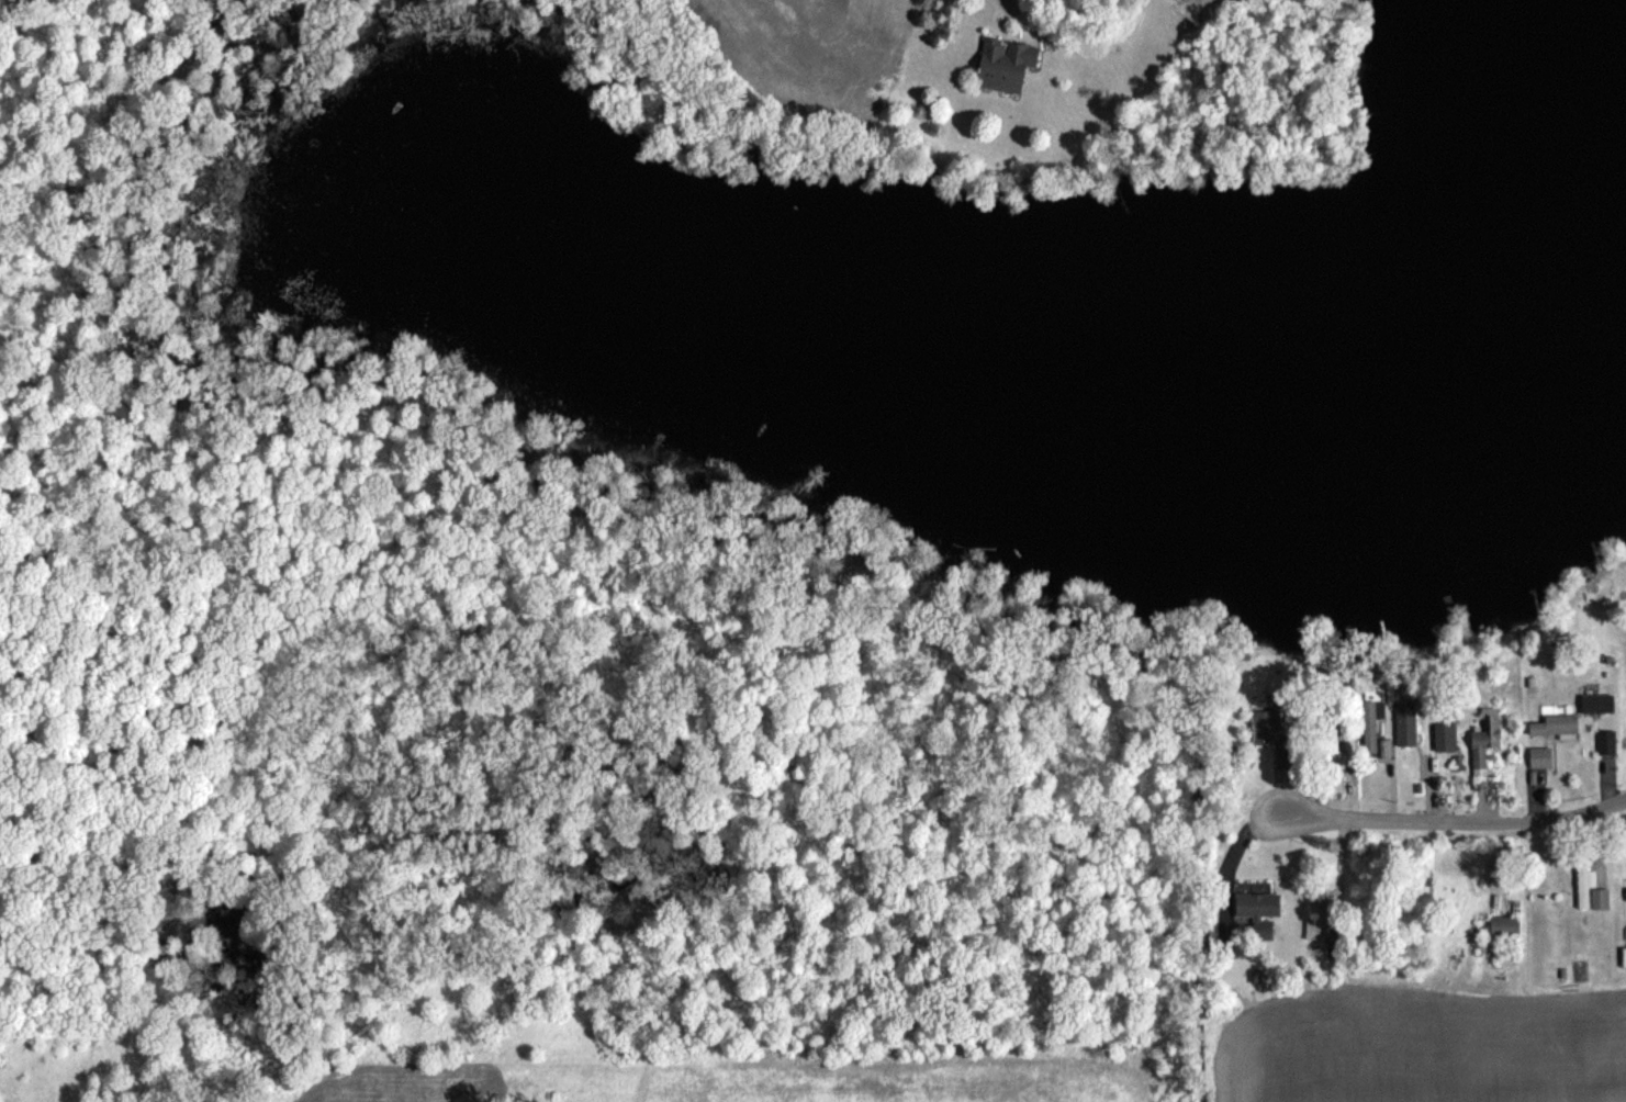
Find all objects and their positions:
building: (1006, 64)
building: (1599, 702)
building: (1371, 722)
building: (1405, 723)
building: (1555, 724)
building: (1264, 727)
building: (1445, 733)
building: (1605, 741)
building: (1483, 745)
building: (1539, 757)
building: (1283, 762)
road: (1450, 818)
building: (1590, 889)
building: (1258, 911)
building: (1320, 915)
building: (1504, 926)

